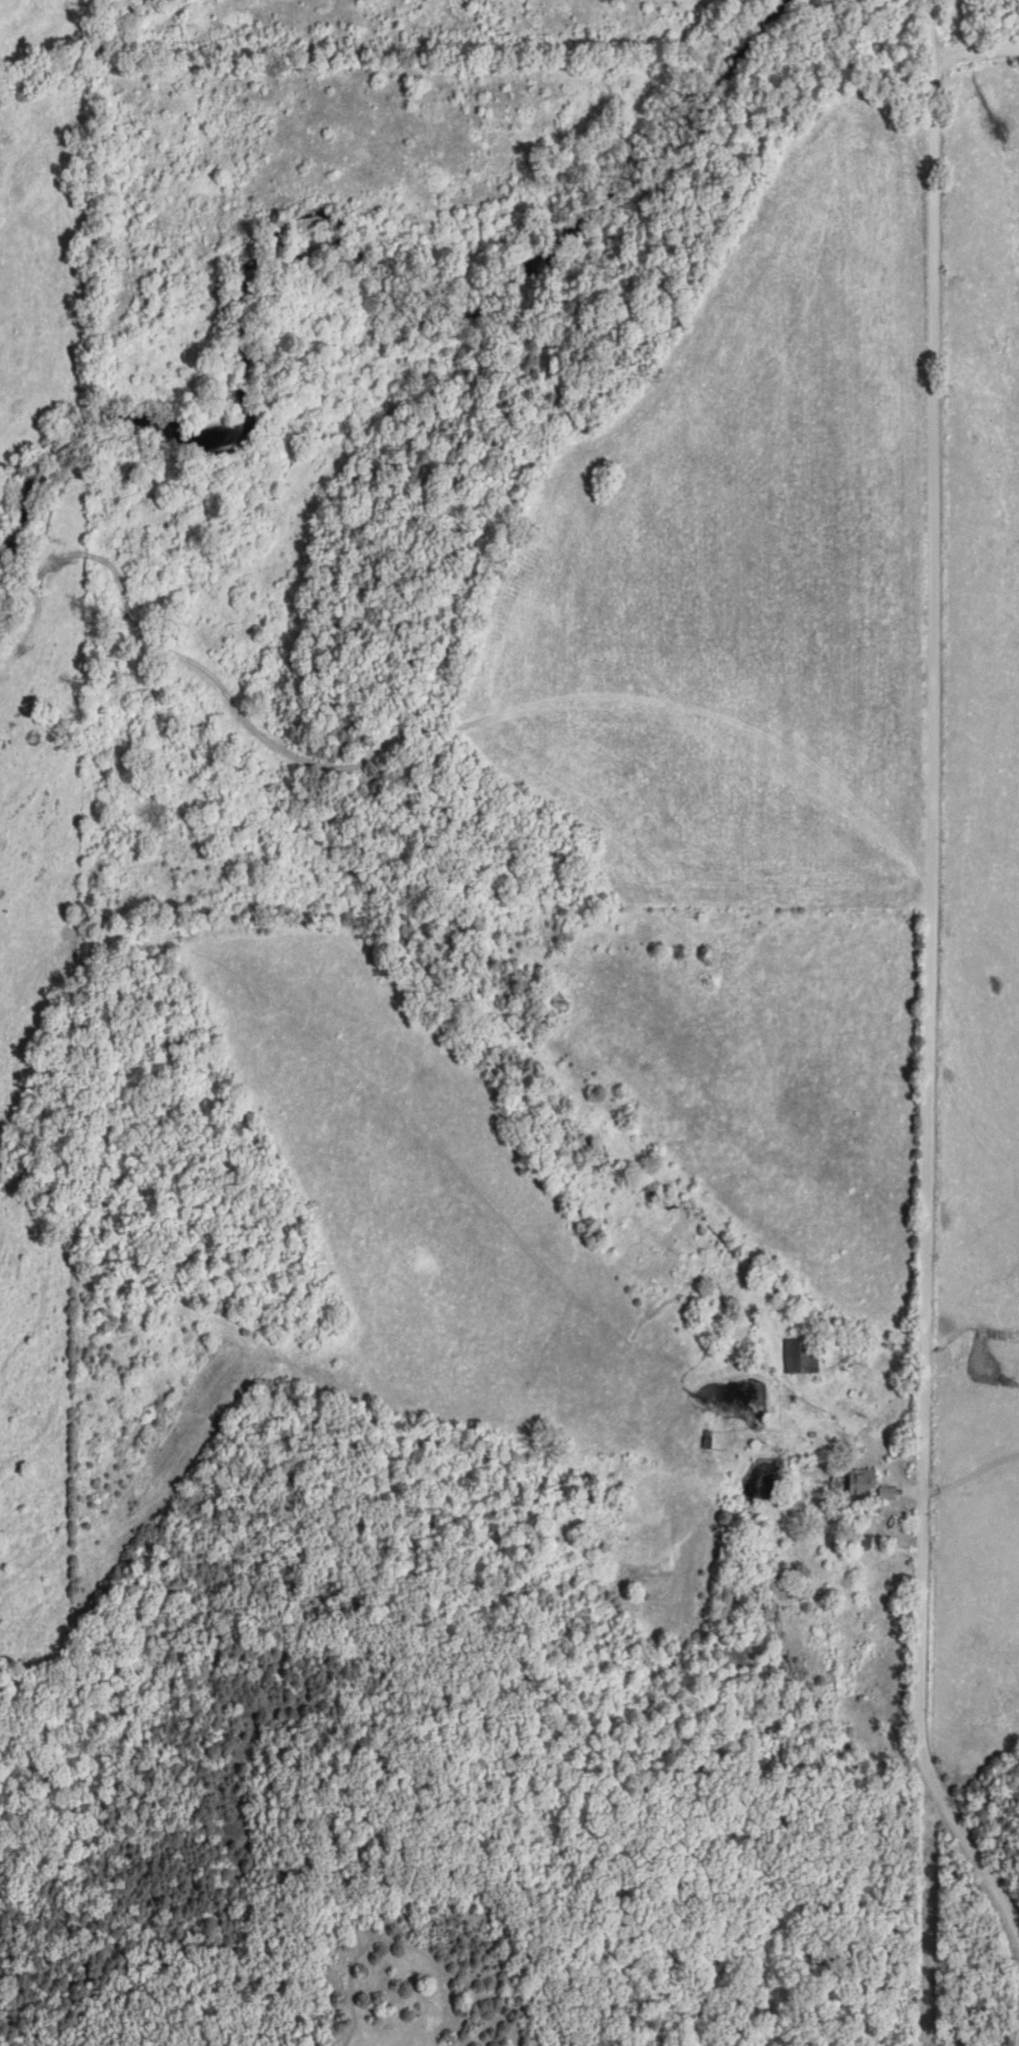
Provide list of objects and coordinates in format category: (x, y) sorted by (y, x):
road: (974, 54)
road: (930, 977)
building: (863, 1482)
building: (888, 1494)

